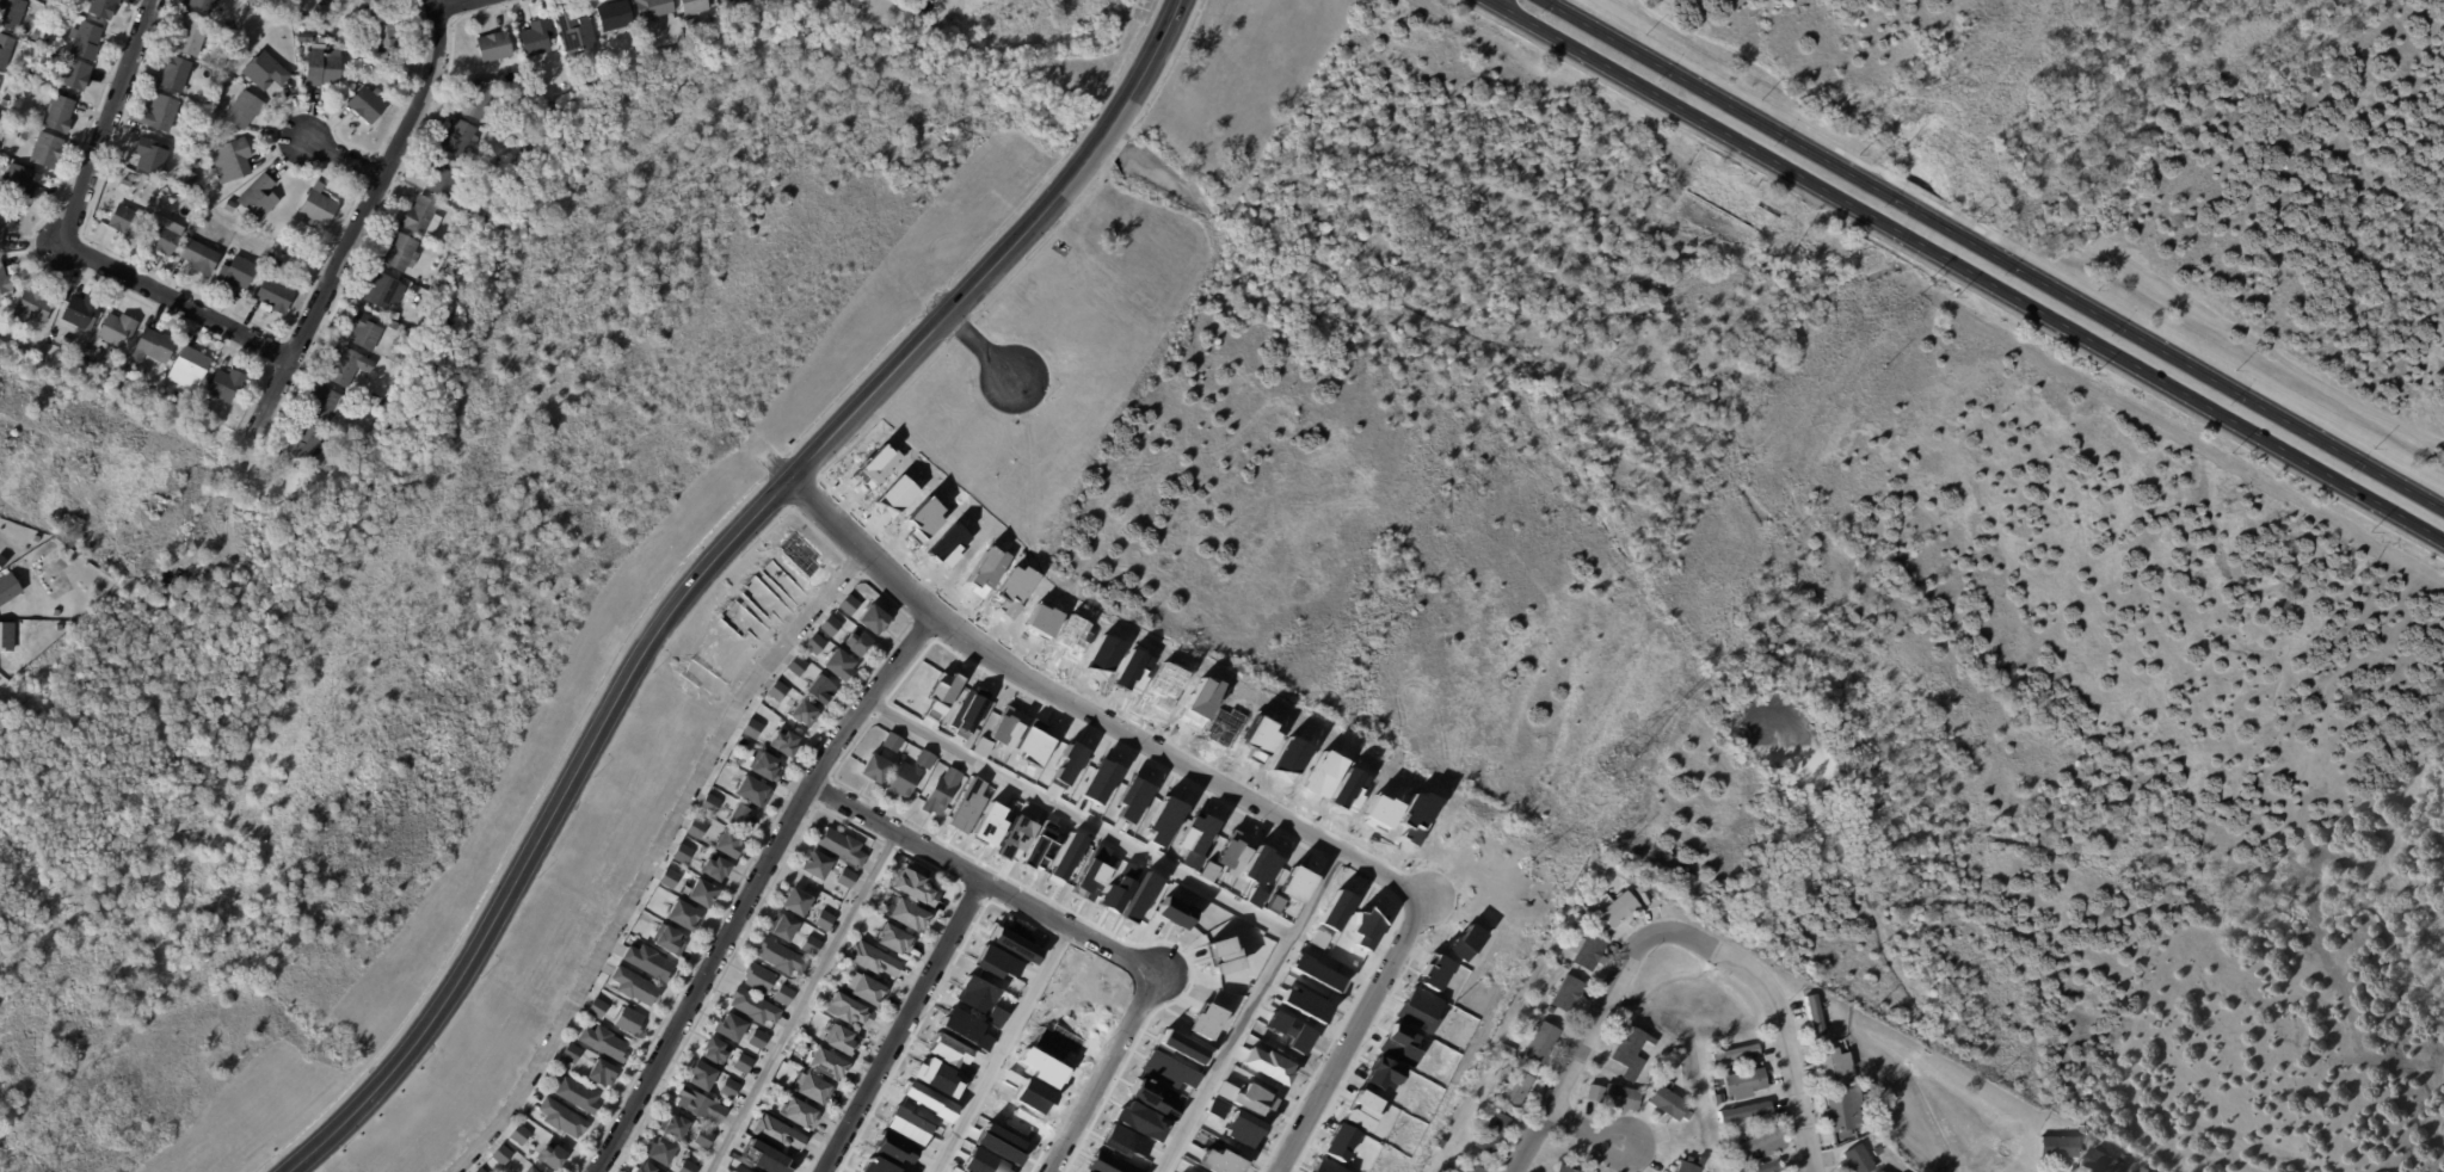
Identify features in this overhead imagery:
building: (719, 0)
road: (439, 1)
building: (743, 1)
building: (373, 2)
building: (202, 5)
building: (694, 6)
building: (101, 7)
building: (653, 7)
building: (11, 13)
building: (614, 14)
building: (36, 33)
building: (575, 33)
building: (386, 35)
building: (191, 36)
building: (306, 37)
building: (536, 37)
building: (85, 41)
building: (494, 47)
building: (5, 49)
park: (1865, 57)
building: (321, 67)
building: (264, 72)
building: (74, 73)
building: (176, 73)
building: (33, 76)
building: (535, 78)
building: (591, 81)
building: (475, 99)
building: (2, 101)
building: (367, 104)
building: (184, 109)
building: (244, 109)
building: (57, 113)
building: (158, 113)
building: (208, 125)
building: (458, 138)
building: (47, 150)
road: (344, 150)
building: (150, 155)
building: (230, 159)
building: (189, 178)
building: (441, 178)
building: (21, 181)
building: (258, 197)
building: (229, 206)
building: (318, 206)
road: (361, 215)
building: (420, 216)
building: (6, 221)
building: (124, 221)
building: (160, 236)
road: (62, 240)
building: (400, 252)
road: (1993, 254)
building: (198, 257)
road: (1965, 271)
building: (236, 273)
building: (4, 282)
building: (384, 291)
building: (275, 294)
building: (32, 307)
building: (81, 311)
building: (395, 315)
building: (116, 329)
building: (361, 332)
building: (154, 345)
road: (983, 351)
building: (346, 368)
building: (189, 369)
building: (227, 384)
building: (375, 401)
building: (325, 405)
building: (204, 411)
building: (346, 425)
building: (304, 443)
road: (710, 568)
building: (7, 587)
building: (850, 604)
building: (874, 619)
building: (831, 624)
building: (59, 628)
building: (7, 636)
building: (856, 642)
building: (815, 643)
building: (838, 664)
building: (799, 665)
building: (820, 689)
building: (777, 691)
building: (804, 713)
road: (1090, 715)
building: (752, 728)
building: (783, 742)
building: (892, 742)
building: (925, 759)
power tower: (1623, 760)
building: (765, 766)
building: (875, 767)
building: (904, 779)
building: (752, 790)
building: (942, 791)
building: (710, 803)
building: (741, 818)
road: (1078, 819)
building: (697, 828)
building: (1195, 833)
building: (728, 843)
building: (842, 846)
building: (1038, 847)
building: (683, 852)
road: (652, 856)
building: (1066, 856)
building: (817, 864)
building: (1258, 865)
building: (716, 868)
building: (670, 877)
building: (847, 877)
road: (756, 886)
building: (918, 886)
building: (702, 893)
building: (1252, 896)
building: (1646, 896)
building: (796, 902)
building: (1617, 908)
building: (910, 913)
building: (684, 915)
building: (825, 920)
building: (783, 926)
road: (1082, 933)
building: (897, 937)
building: (669, 939)
building: (812, 944)
building: (1588, 950)
building: (781, 956)
building: (874, 958)
building: (650, 961)
building: (759, 976)
building: (635, 986)
building: (867, 988)
building: (784, 994)
building: (974, 994)
building: (1568, 995)
road: (804, 1001)
building: (755, 1006)
building: (598, 1007)
building: (849, 1008)
road: (1249, 1010)
building: (995, 1016)
road: (1780, 1017)
building: (1814, 1018)
building: (628, 1019)
road: (901, 1025)
building: (732, 1026)
building: (965, 1028)
road: (1353, 1035)
building: (838, 1038)
building: (758, 1040)
building: (605, 1042)
building: (1400, 1043)
building: (1541, 1044)
building: (1508, 1048)
road: (1587, 1048)
building: (716, 1049)
building: (946, 1049)
road: (1003, 1049)
building: (571, 1053)
building: (1632, 1053)
building: (1734, 1053)
building: (824, 1061)
building: (744, 1063)
building: (1835, 1063)
building: (560, 1071)
building: (603, 1072)
building: (1380, 1073)
building: (703, 1074)
building: (935, 1077)
building: (1746, 1081)
building: (1852, 1082)
building: (812, 1087)
building: (1516, 1087)
building: (729, 1088)
building: (577, 1094)
building: (1615, 1097)
building: (1668, 1103)
building: (701, 1104)
building: (1847, 1110)
building: (801, 1111)
building: (1512, 1111)
building: (1742, 1111)
building: (1688, 1116)
building: (562, 1118)
building: (1139, 1121)
building: (673, 1124)
building: (905, 1124)
building: (778, 1133)
building: (1494, 1133)
road: (1594, 1133)
building: (2082, 1133)
building: (519, 1135)
building: (703, 1139)
building: (1763, 1143)
building: (893, 1148)
building: (2056, 1148)
building: (661, 1151)
building: (501, 1155)
building: (552, 1155)
building: (767, 1159)
building: (1857, 1160)
building: (2104, 1162)
building: (685, 1166)
building: (875, 1166)
building: (1324, 1166)
building: (647, 1167)
building: (1471, 1167)
building: (1687, 1167)
building: (1762, 1167)
building: (1565, 1168)
building: (2143, 1168)
building: (480, 1170)
building: (531, 1170)
building: (733, 1171)
building: (1877, 1171)

